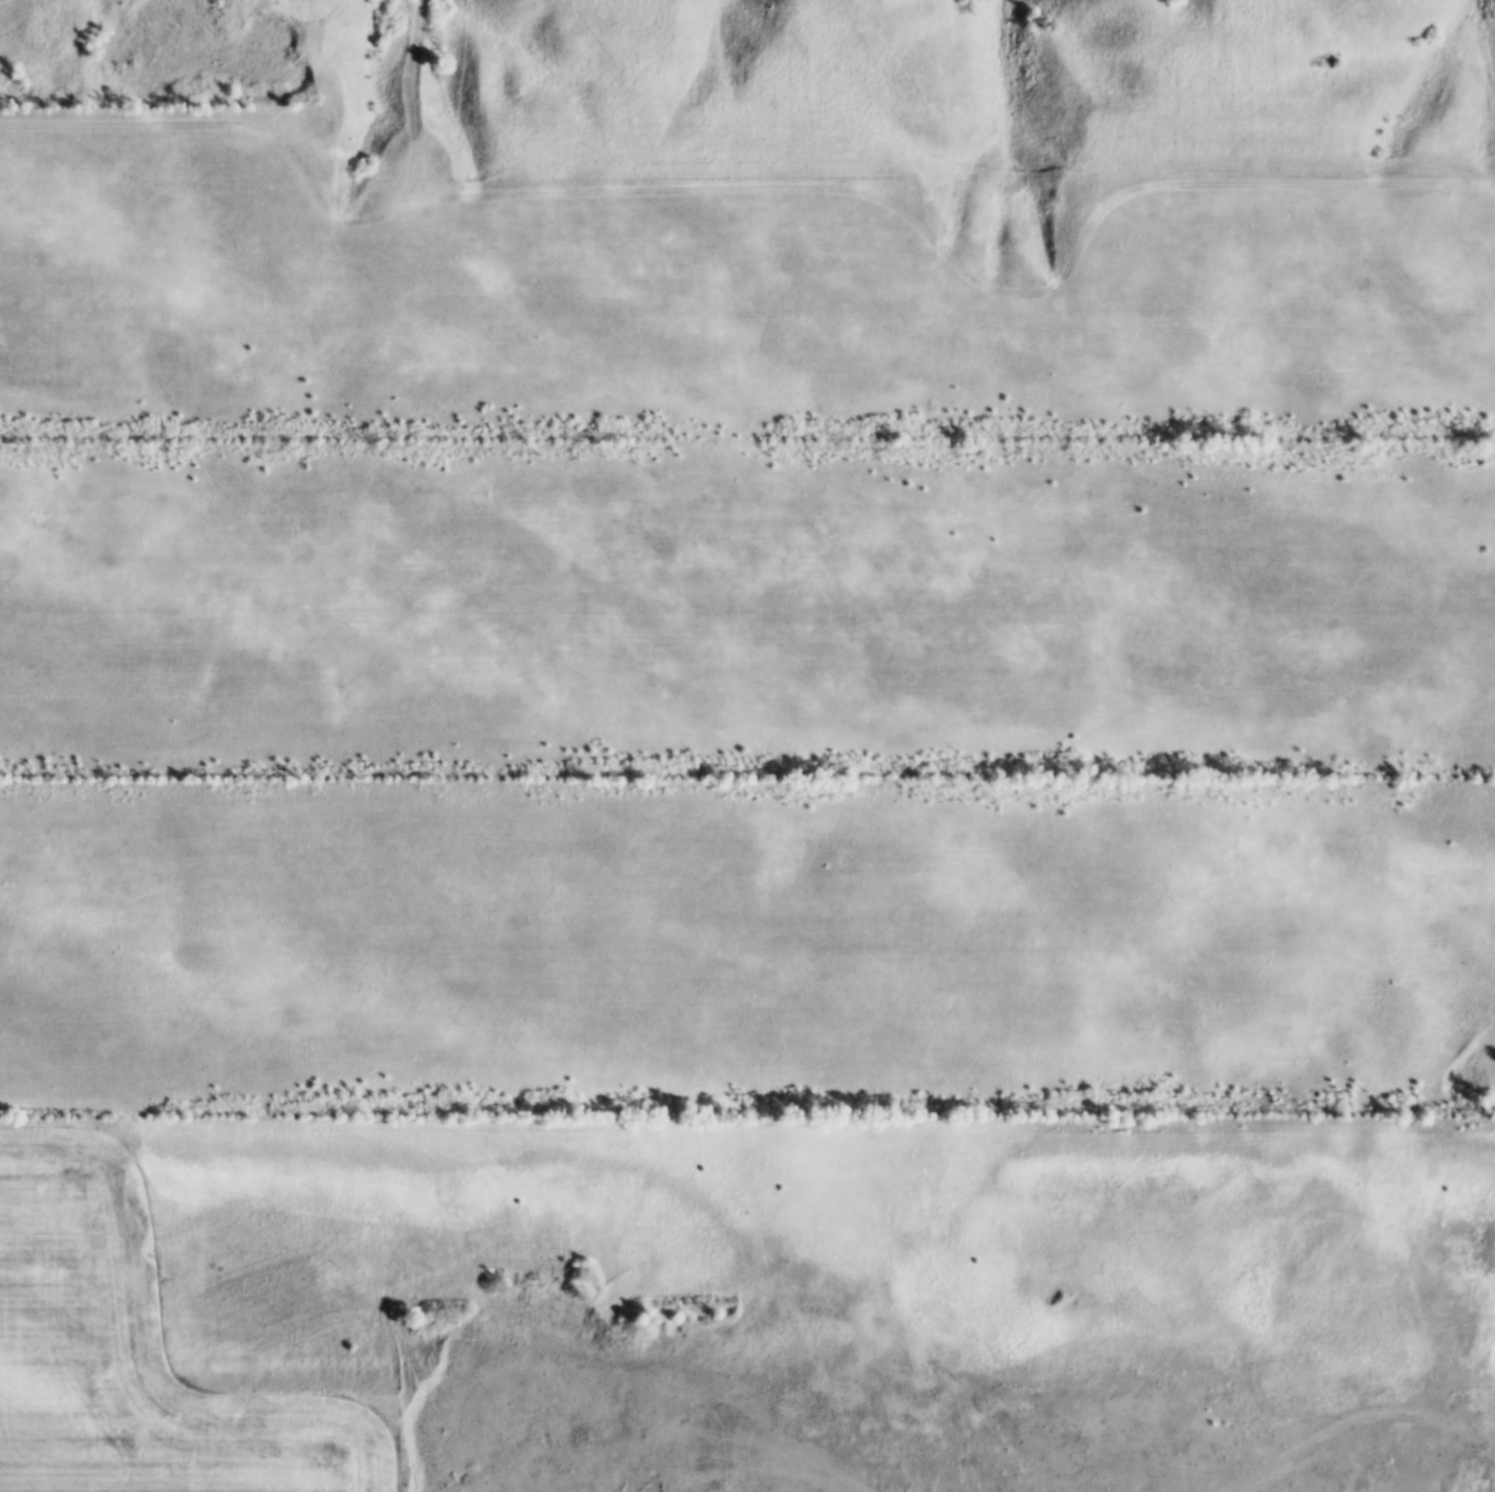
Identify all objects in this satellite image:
road: (1483, 45)
quarry: (893, 1402)
road: (1376, 1411)

